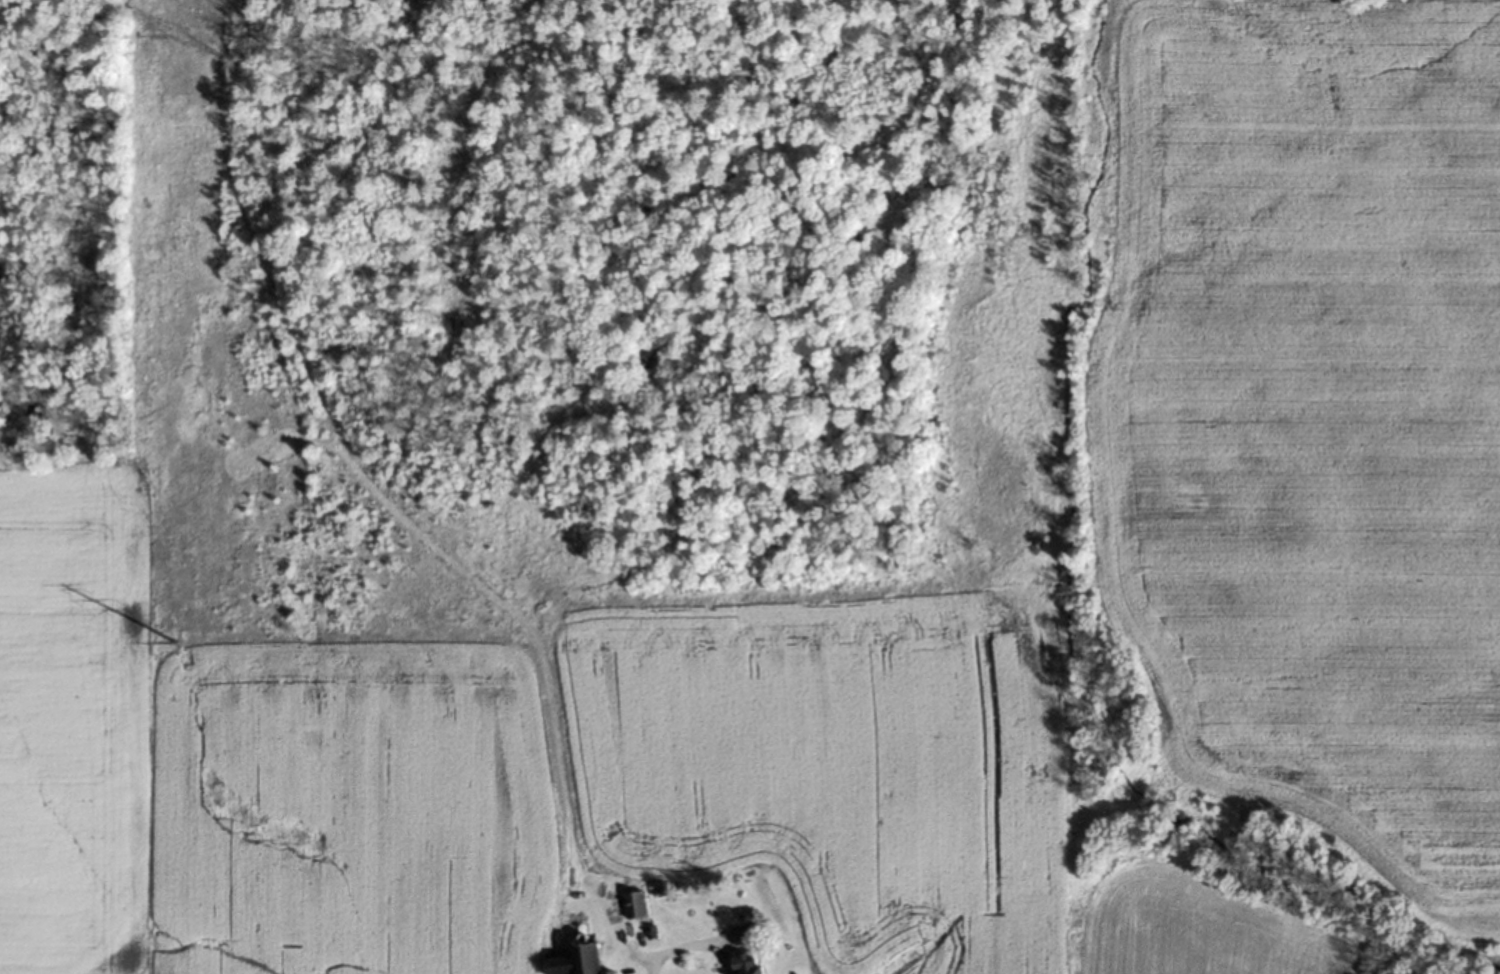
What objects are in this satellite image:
power tower: (179, 35)
power tower: (173, 642)
building: (633, 903)
building: (743, 933)
building: (574, 960)
building: (746, 962)

